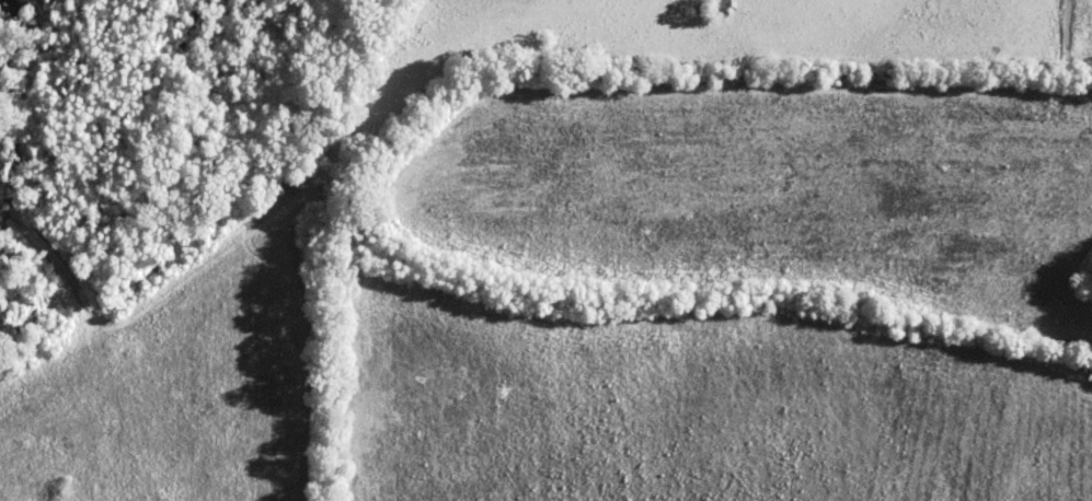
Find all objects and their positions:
building: (719, 7)

